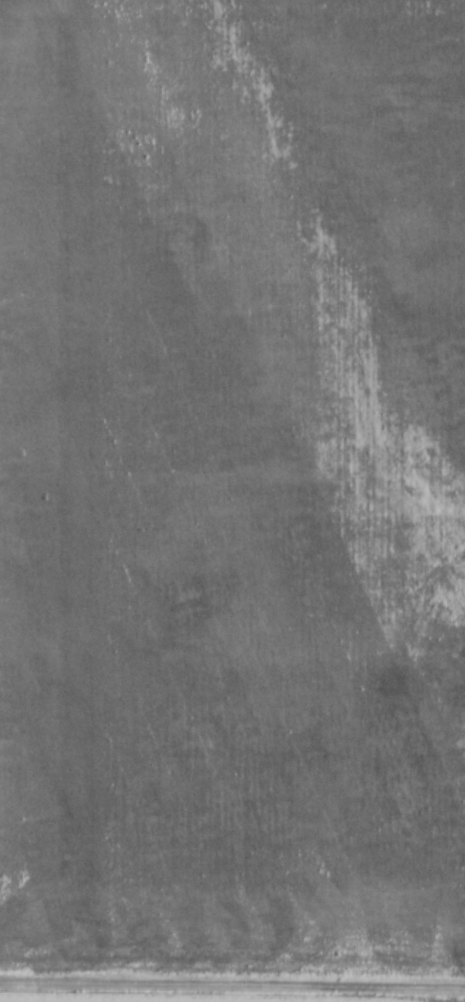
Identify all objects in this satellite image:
road: (232, 988)

